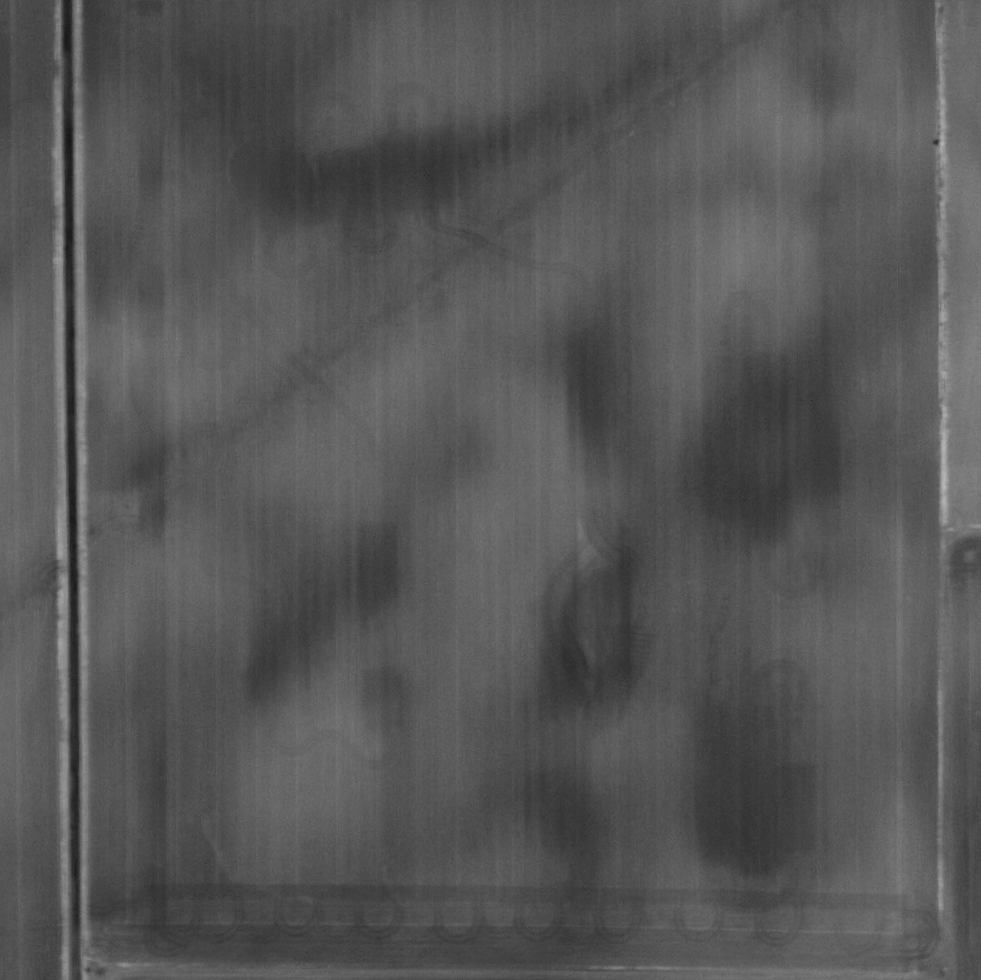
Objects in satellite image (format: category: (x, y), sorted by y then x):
road: (69, 489)
crop: (529, 489)
crop: (34, 498)

